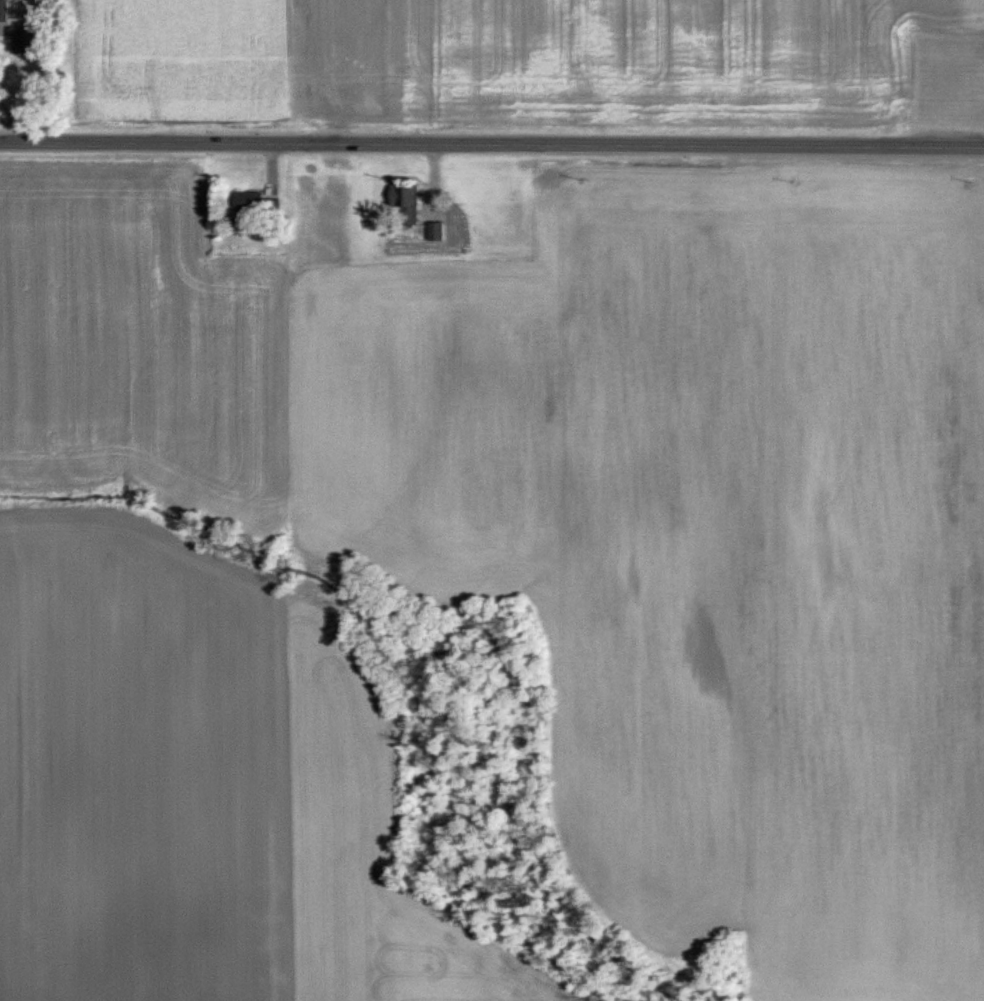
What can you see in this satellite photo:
building: (6, 11)
building: (974, 95)
road: (491, 148)
building: (253, 204)
building: (405, 206)
building: (433, 232)

